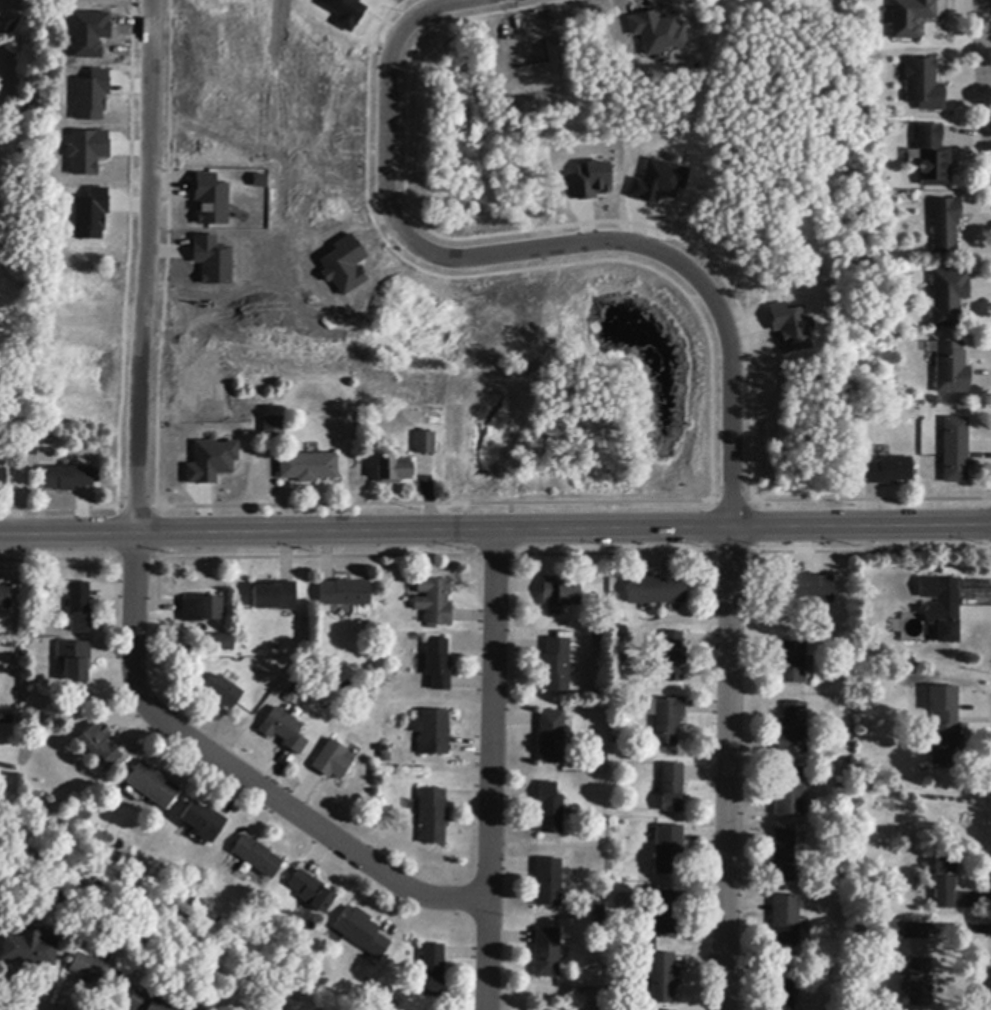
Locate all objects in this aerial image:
building: (344, 12)
building: (910, 17)
building: (654, 31)
road: (983, 76)
building: (923, 86)
building: (91, 95)
building: (86, 150)
building: (932, 157)
building: (588, 180)
building: (656, 181)
building: (210, 199)
building: (89, 214)
building: (945, 225)
road: (547, 246)
park: (860, 256)
building: (211, 259)
building: (343, 264)
building: (948, 297)
building: (789, 326)
building: (952, 368)
building: (273, 427)
building: (425, 444)
building: (955, 450)
building: (209, 460)
building: (307, 468)
building: (393, 471)
building: (887, 471)
building: (67, 478)
building: (3, 479)
road: (495, 530)
road: (132, 557)
building: (804, 590)
building: (655, 591)
building: (559, 593)
building: (344, 594)
building: (274, 596)
building: (4, 598)
building: (433, 601)
building: (79, 608)
building: (941, 608)
building: (201, 609)
building: (620, 632)
building: (222, 643)
building: (673, 658)
building: (75, 661)
building: (791, 663)
building: (437, 664)
building: (905, 664)
building: (556, 665)
building: (916, 680)
building: (217, 690)
building: (3, 717)
building: (665, 718)
building: (943, 725)
building: (792, 730)
building: (283, 731)
building: (432, 732)
building: (551, 737)
building: (98, 744)
building: (332, 761)
road: (493, 769)
road: (729, 769)
building: (152, 785)
building: (671, 788)
building: (788, 793)
building: (549, 809)
building: (432, 816)
building: (203, 822)
building: (667, 850)
building: (782, 856)
building: (257, 857)
building: (121, 860)
building: (944, 882)
building: (548, 883)
building: (311, 892)
building: (97, 907)
building: (666, 914)
building: (785, 919)
building: (861, 927)
building: (891, 929)
building: (361, 932)
building: (29, 948)
building: (546, 954)
building: (432, 970)
building: (95, 973)
building: (662, 979)
building: (919, 984)
building: (781, 985)
building: (144, 1003)

